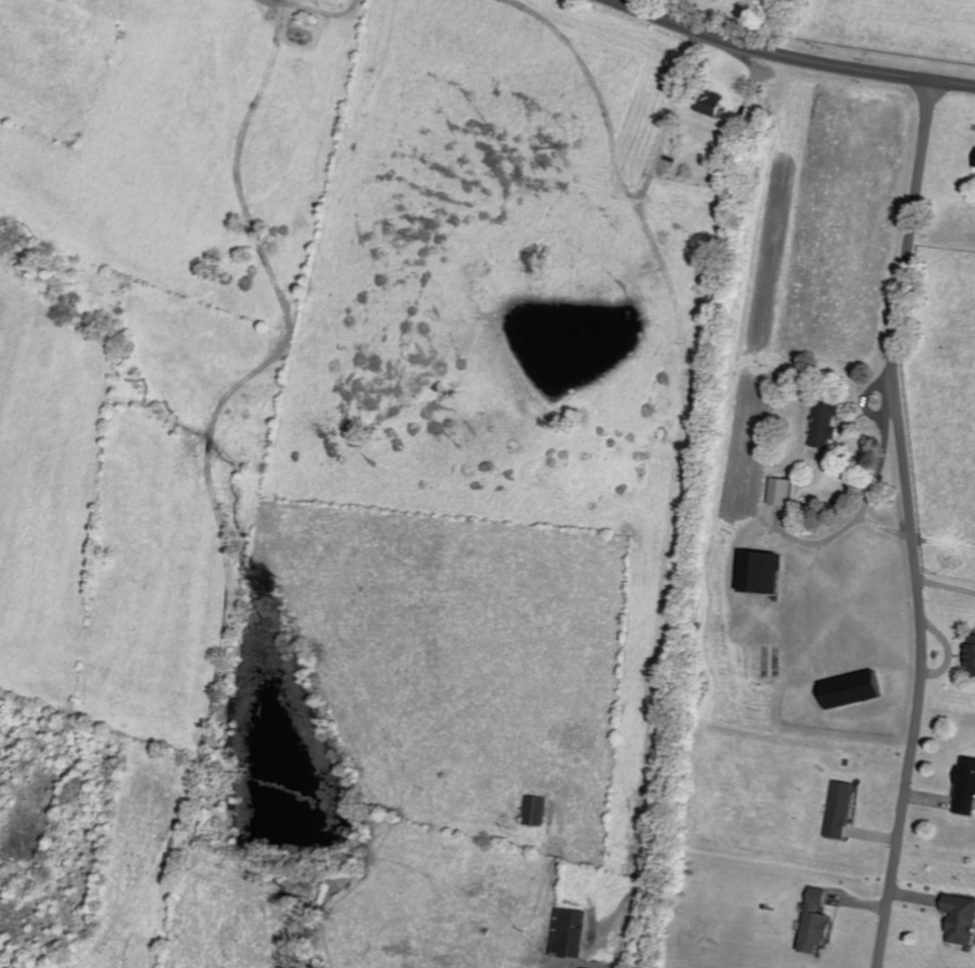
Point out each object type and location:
road: (313, 10)
road: (788, 57)
road: (597, 96)
building: (708, 101)
road: (673, 103)
building: (974, 163)
building: (824, 422)
building: (778, 490)
road: (909, 524)
building: (760, 571)
building: (971, 656)
building: (850, 689)
building: (965, 787)
building: (839, 809)
building: (533, 810)
building: (960, 919)
building: (813, 921)
building: (568, 932)

